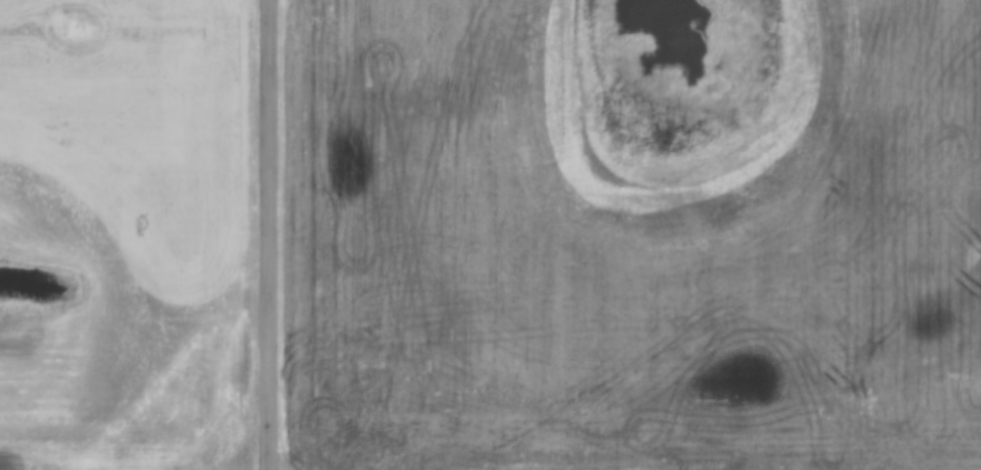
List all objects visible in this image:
road: (267, 235)

